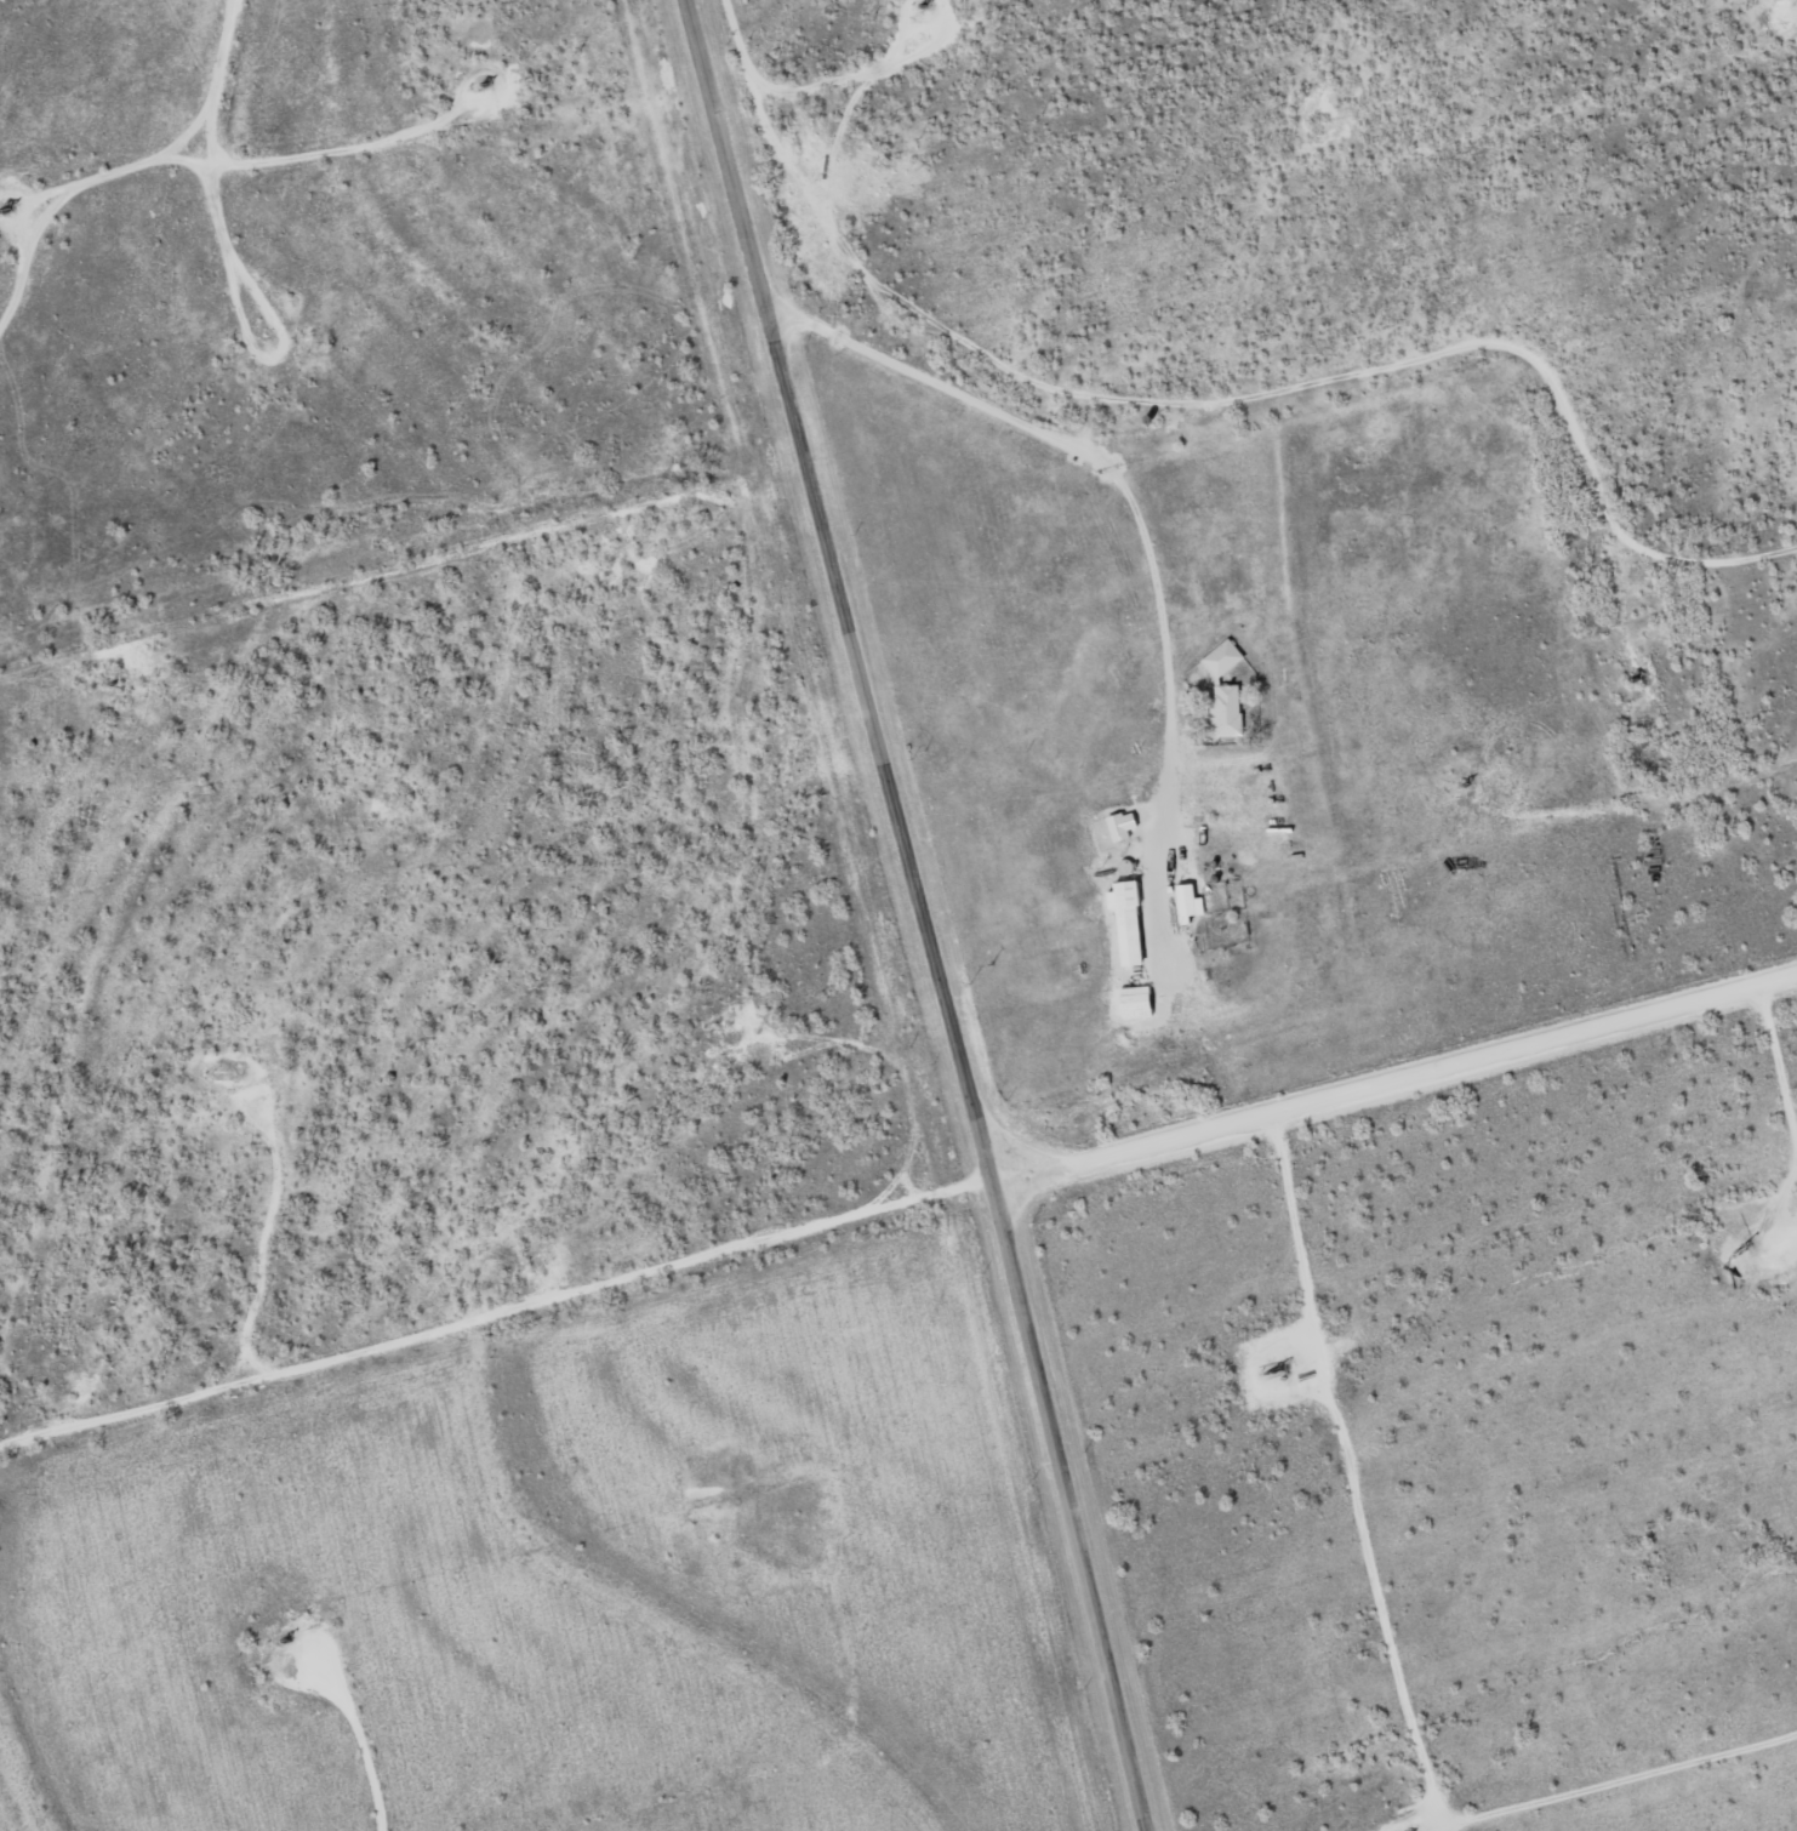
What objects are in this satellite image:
road: (1062, 441)
building: (1223, 660)
building: (1227, 712)
building: (1123, 828)
building: (1190, 905)
road: (939, 913)
building: (1129, 923)
building: (1136, 1003)
road: (1780, 1068)
road: (1403, 1082)
road: (1391, 1645)

